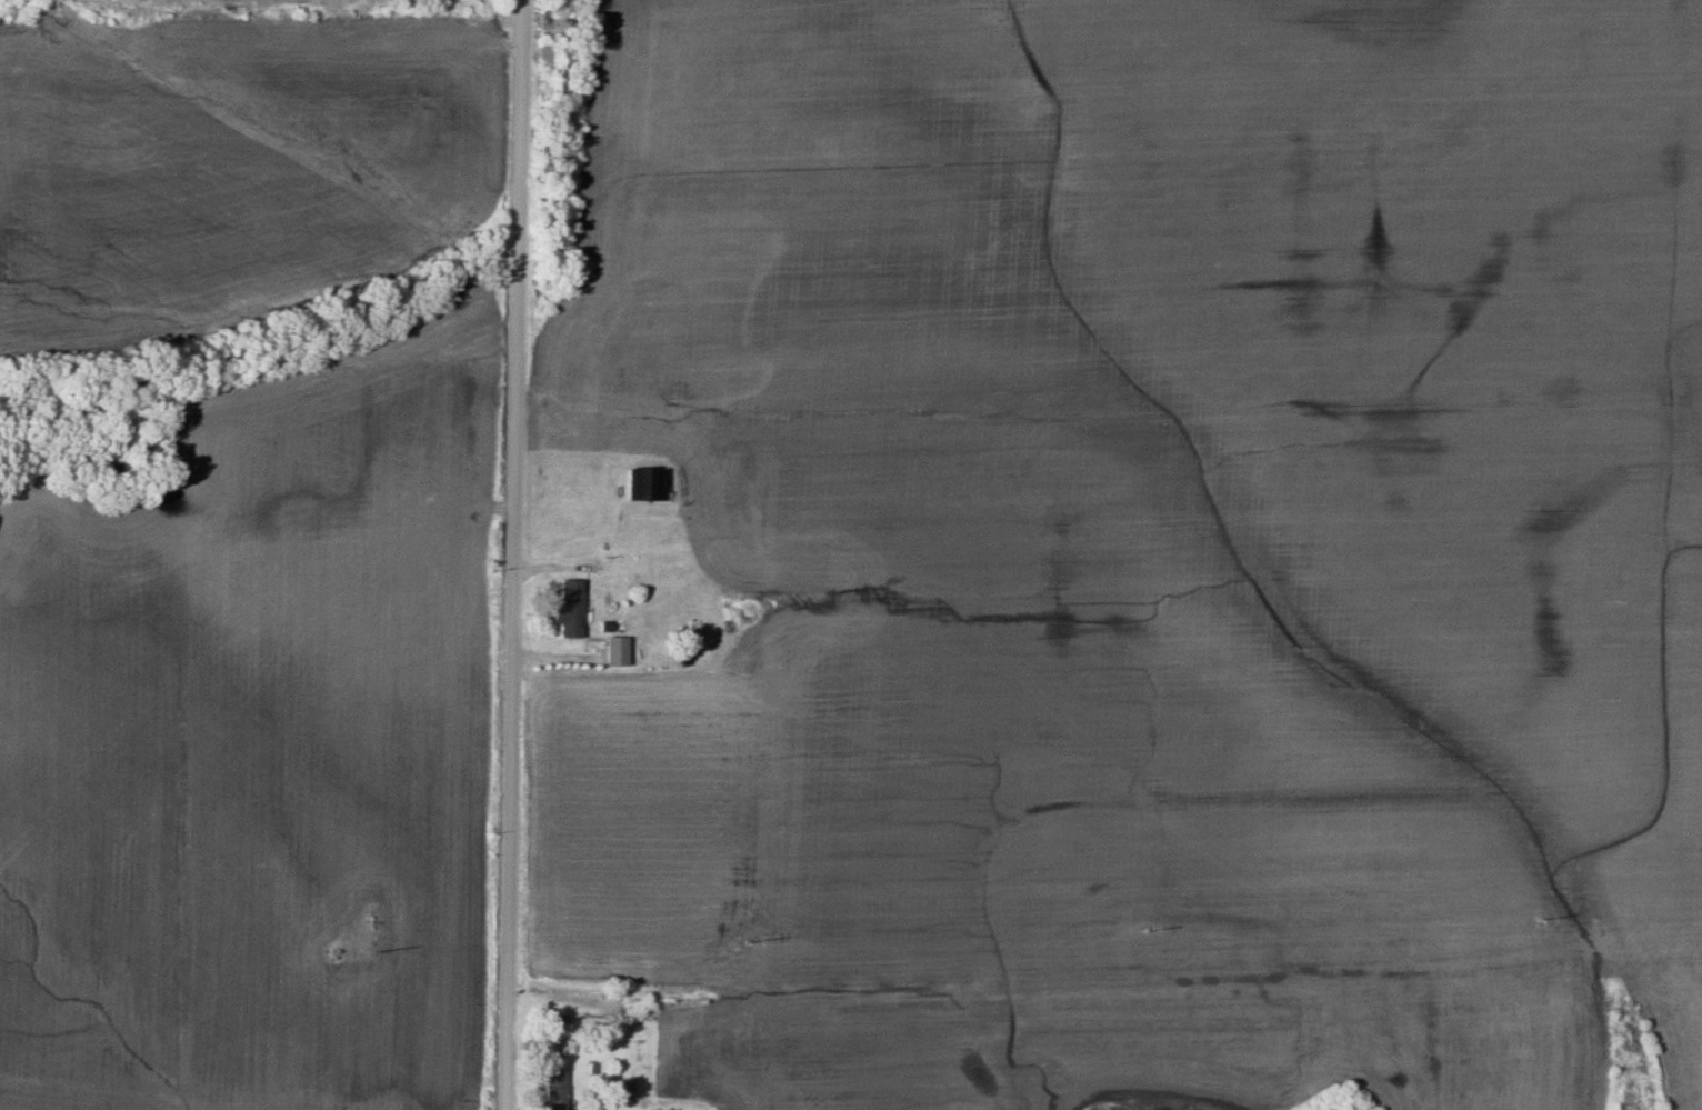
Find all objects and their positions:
building: (641, 482)
crop: (1154, 496)
road: (514, 554)
building: (572, 608)
building: (557, 1089)
building: (623, 1090)

